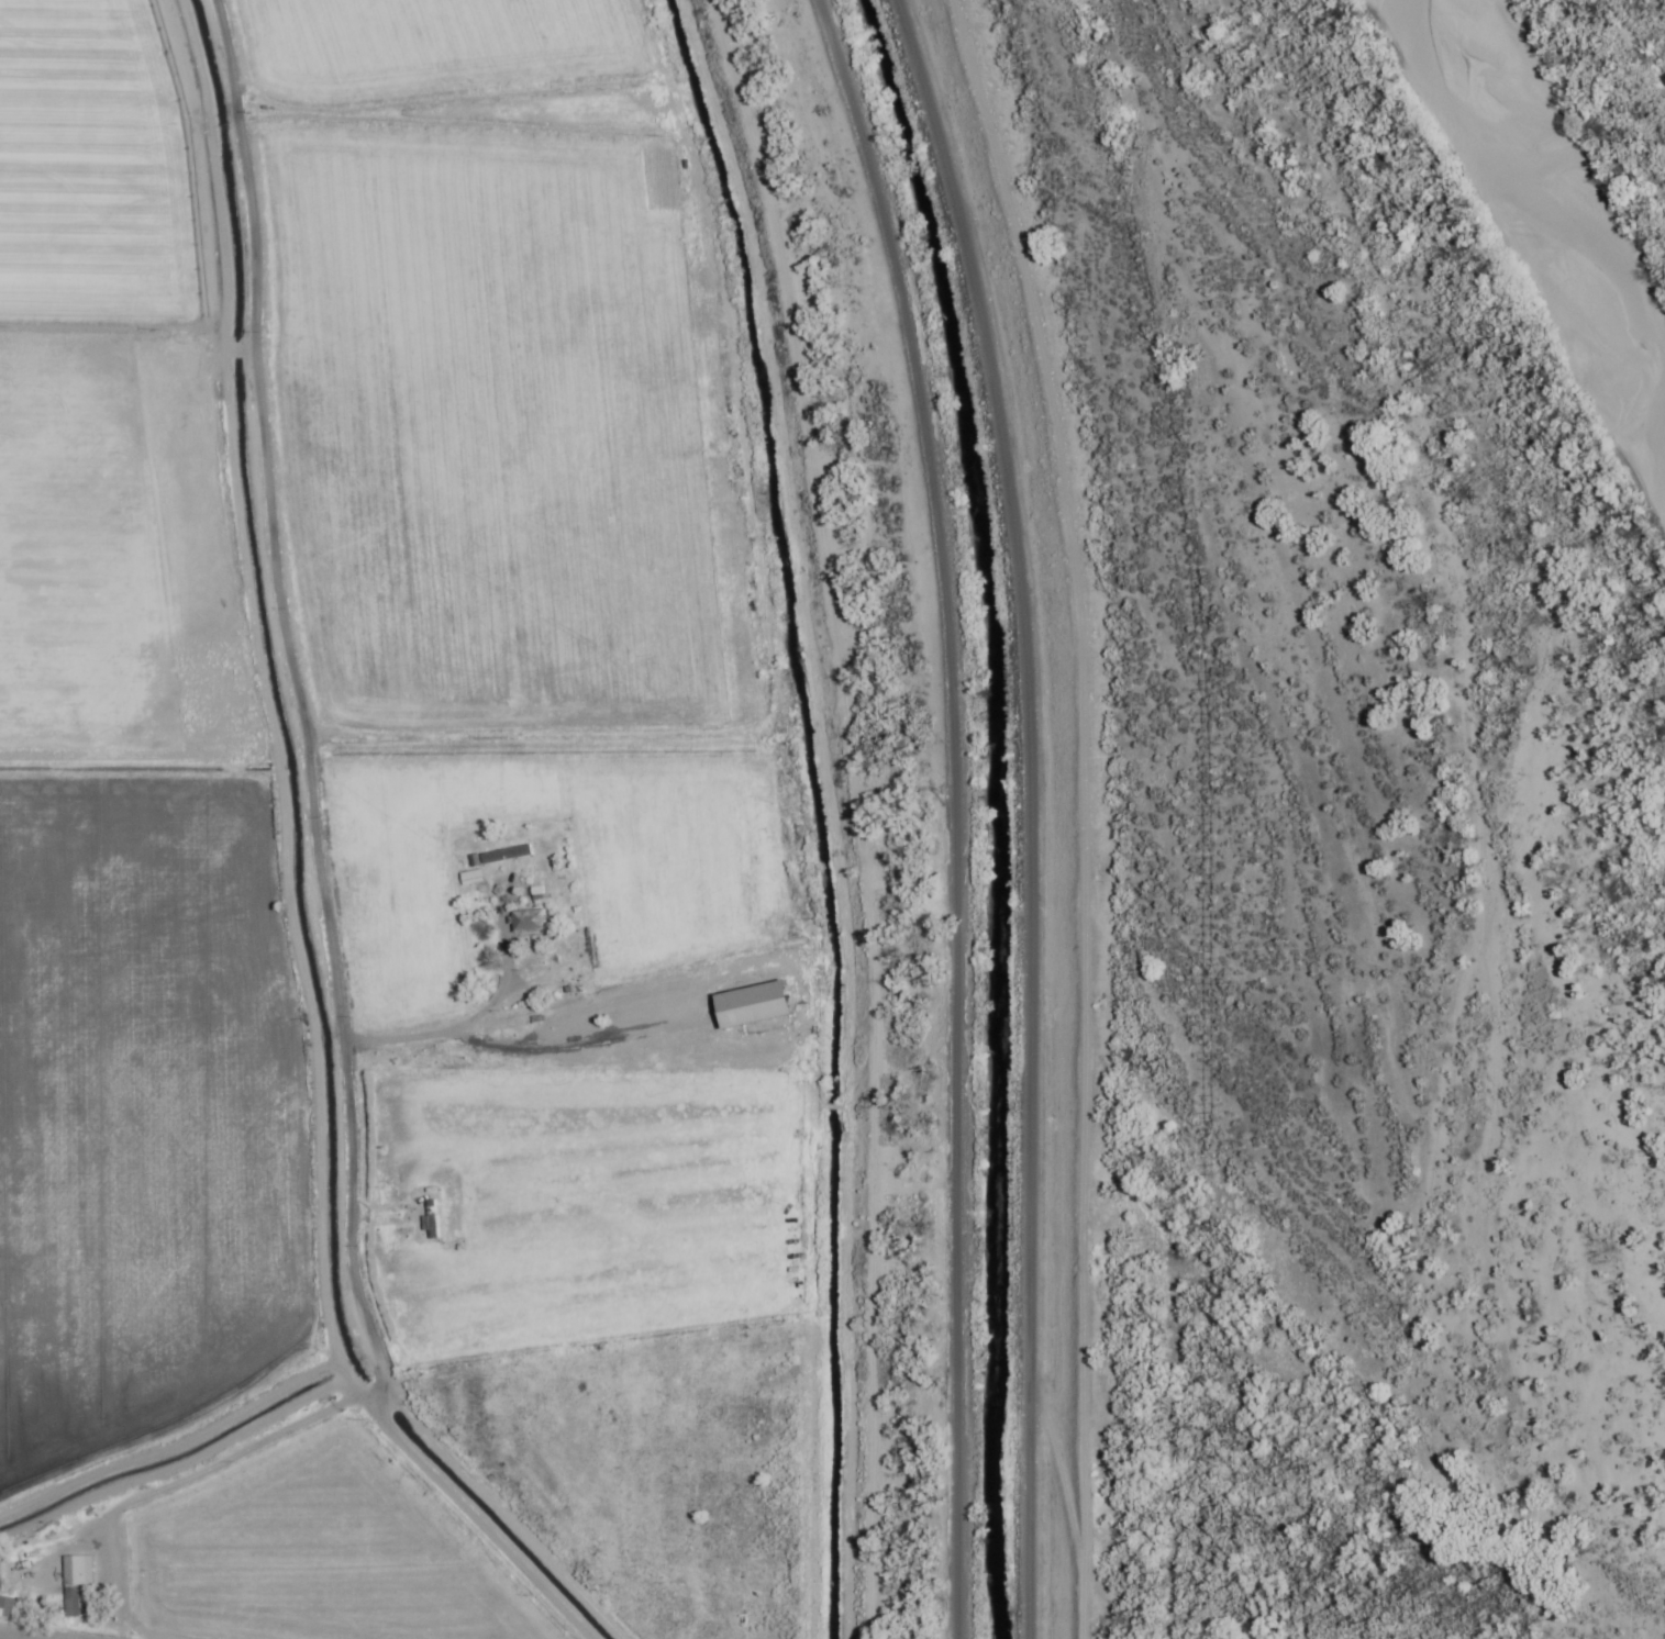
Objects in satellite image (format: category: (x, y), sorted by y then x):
river: (1541, 224)
road: (956, 811)
road: (1065, 812)
road: (309, 860)
building: (470, 878)
building: (526, 925)
building: (754, 1006)
building: (75, 1583)
building: (9, 1609)

